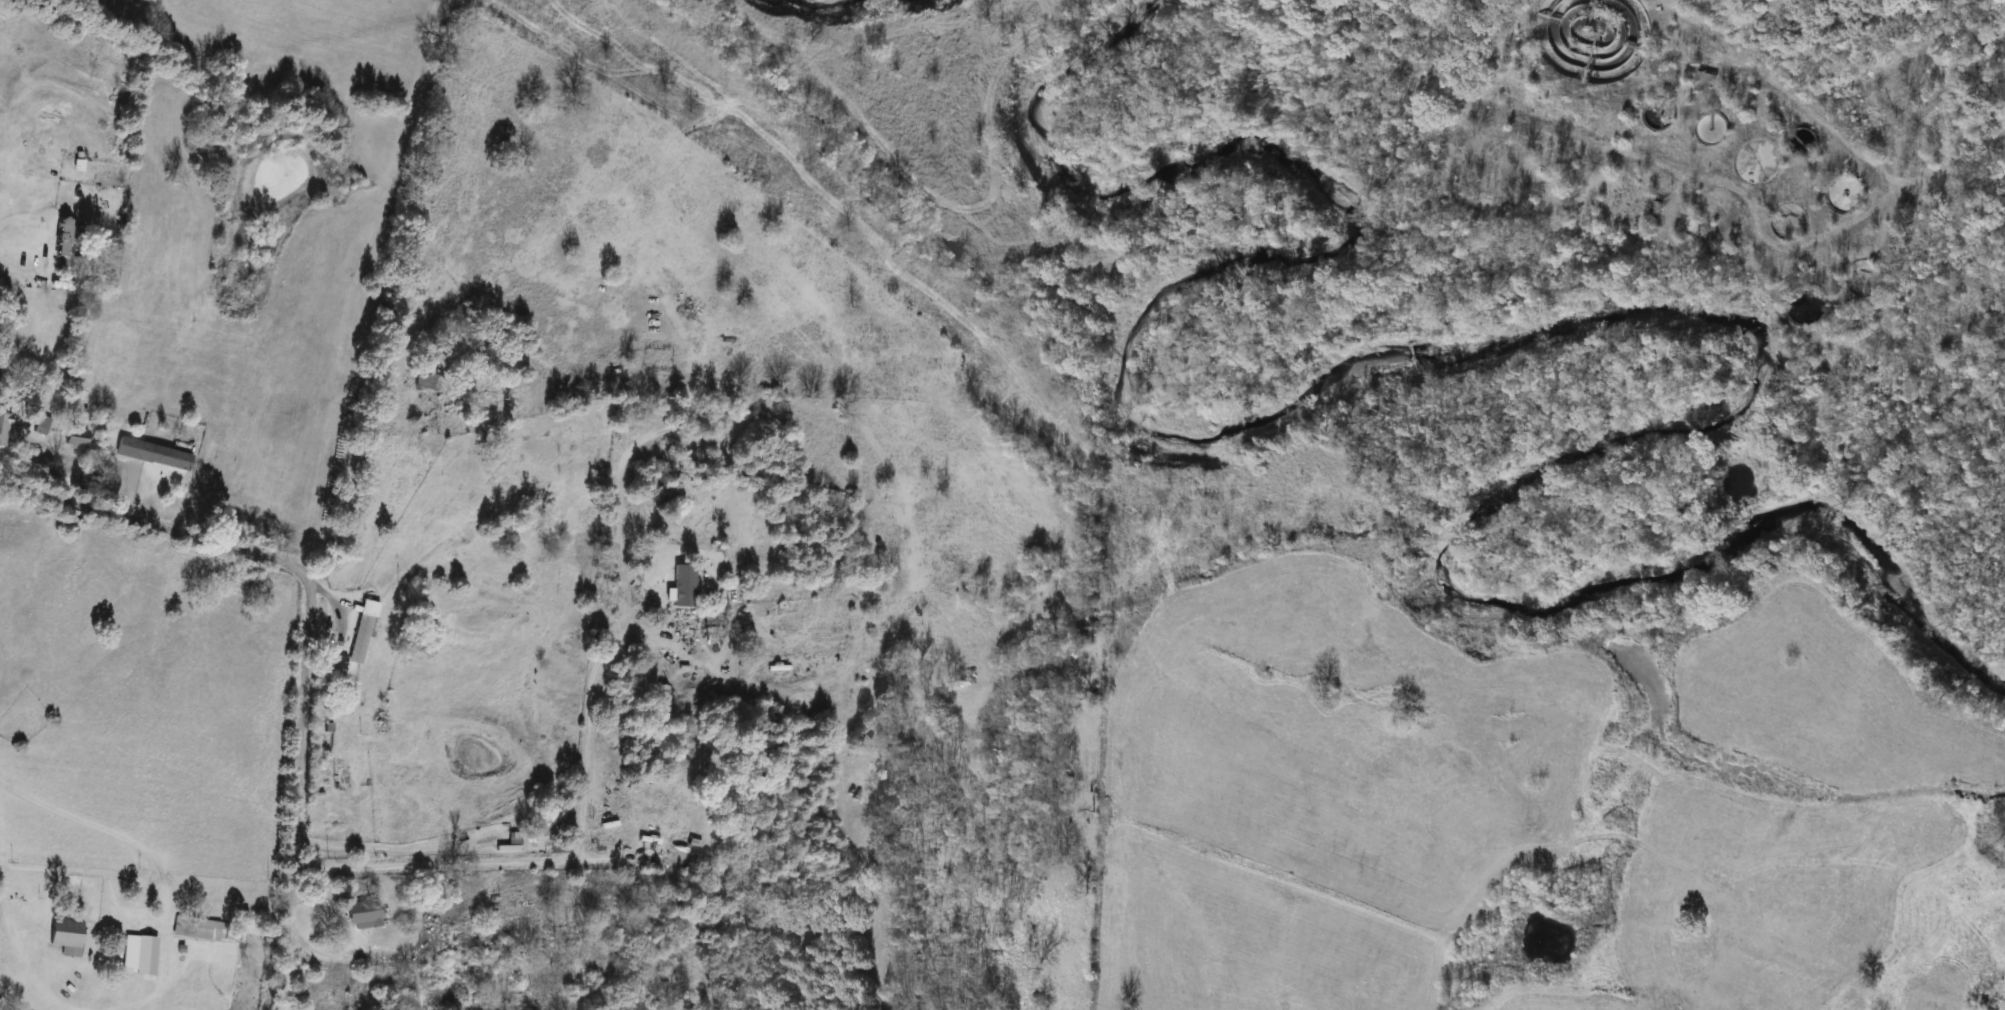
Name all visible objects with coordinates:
building: (1569, 29)
building: (1704, 84)
building: (59, 238)
road: (46, 244)
building: (802, 343)
building: (421, 384)
building: (1, 426)
building: (42, 426)
building: (74, 439)
building: (152, 456)
building: (681, 586)
building: (708, 618)
road: (303, 632)
building: (361, 633)
building: (542, 826)
road: (388, 846)
road: (572, 857)
building: (361, 915)
building: (195, 930)
building: (65, 938)
building: (469, 949)
building: (143, 957)

